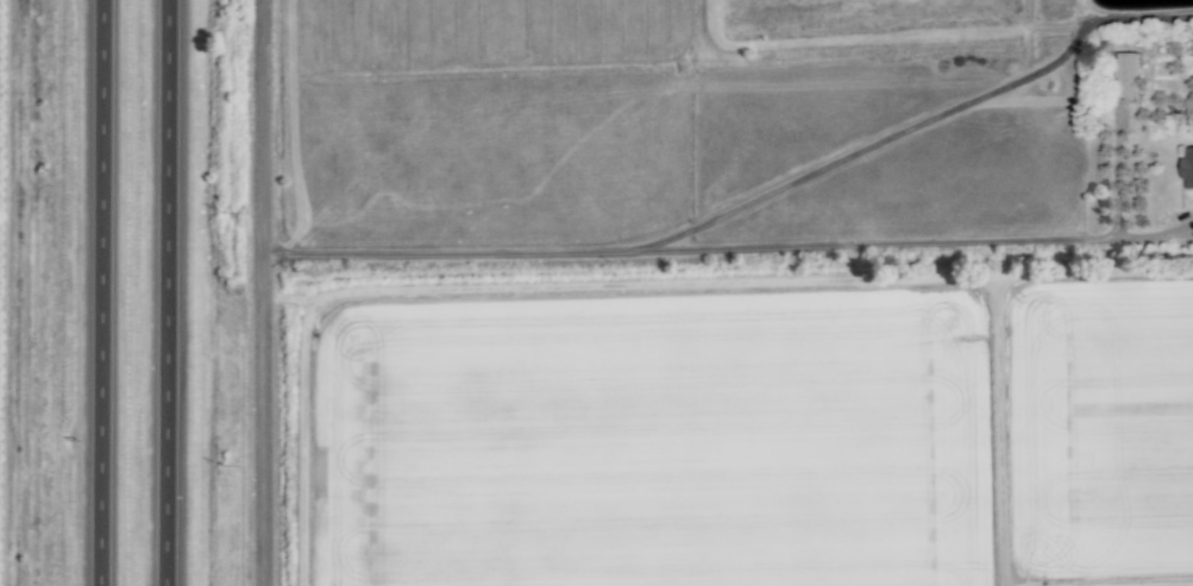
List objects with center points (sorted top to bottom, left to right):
building: (1124, 76)
road: (911, 127)
building: (1186, 168)
road: (742, 250)
road: (103, 292)
road: (172, 292)
road: (269, 292)
road: (304, 426)

